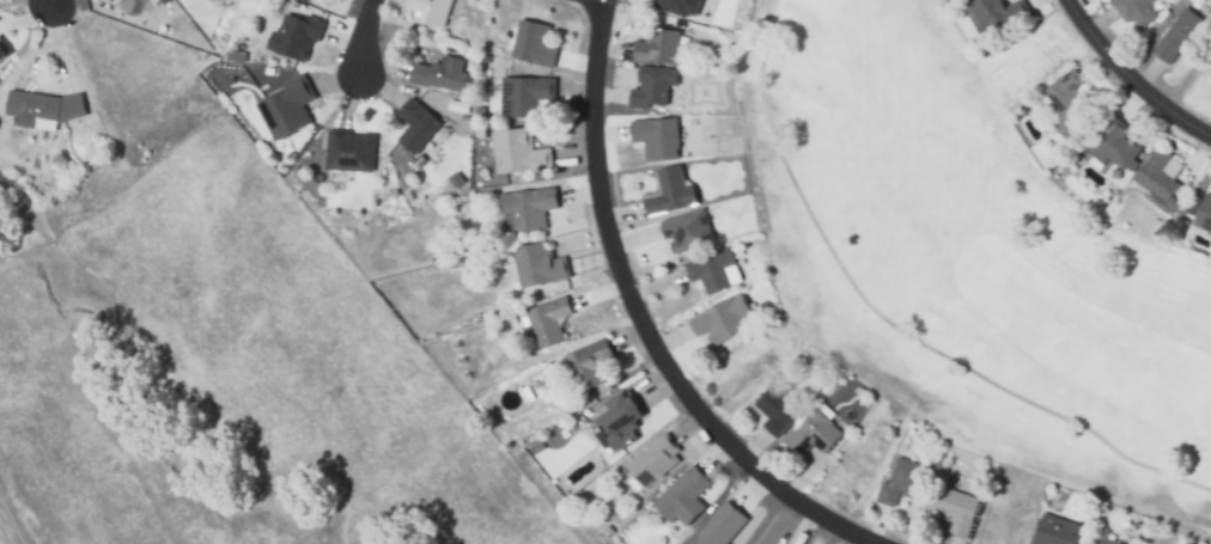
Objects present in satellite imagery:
building: (110, 0)
building: (112, 0)
road: (47, 2)
building: (678, 6)
building: (430, 11)
building: (1134, 12)
building: (998, 16)
building: (293, 36)
road: (363, 36)
building: (1176, 36)
building: (531, 43)
building: (656, 45)
building: (4, 51)
building: (439, 74)
road: (1128, 78)
building: (651, 85)
building: (524, 96)
building: (1066, 105)
building: (39, 108)
building: (286, 108)
building: (415, 128)
building: (656, 137)
building: (1113, 142)
building: (349, 151)
building: (516, 152)
building: (1157, 181)
building: (670, 191)
building: (528, 208)
building: (1204, 215)
building: (683, 228)
park: (984, 231)
building: (537, 265)
building: (712, 268)
building: (723, 319)
building: (546, 322)
road: (646, 323)
building: (586, 363)
building: (777, 410)
building: (617, 421)
building: (813, 434)
building: (651, 463)
building: (902, 481)
building: (681, 496)
building: (954, 509)
building: (719, 526)
building: (1055, 533)
building: (1104, 542)

